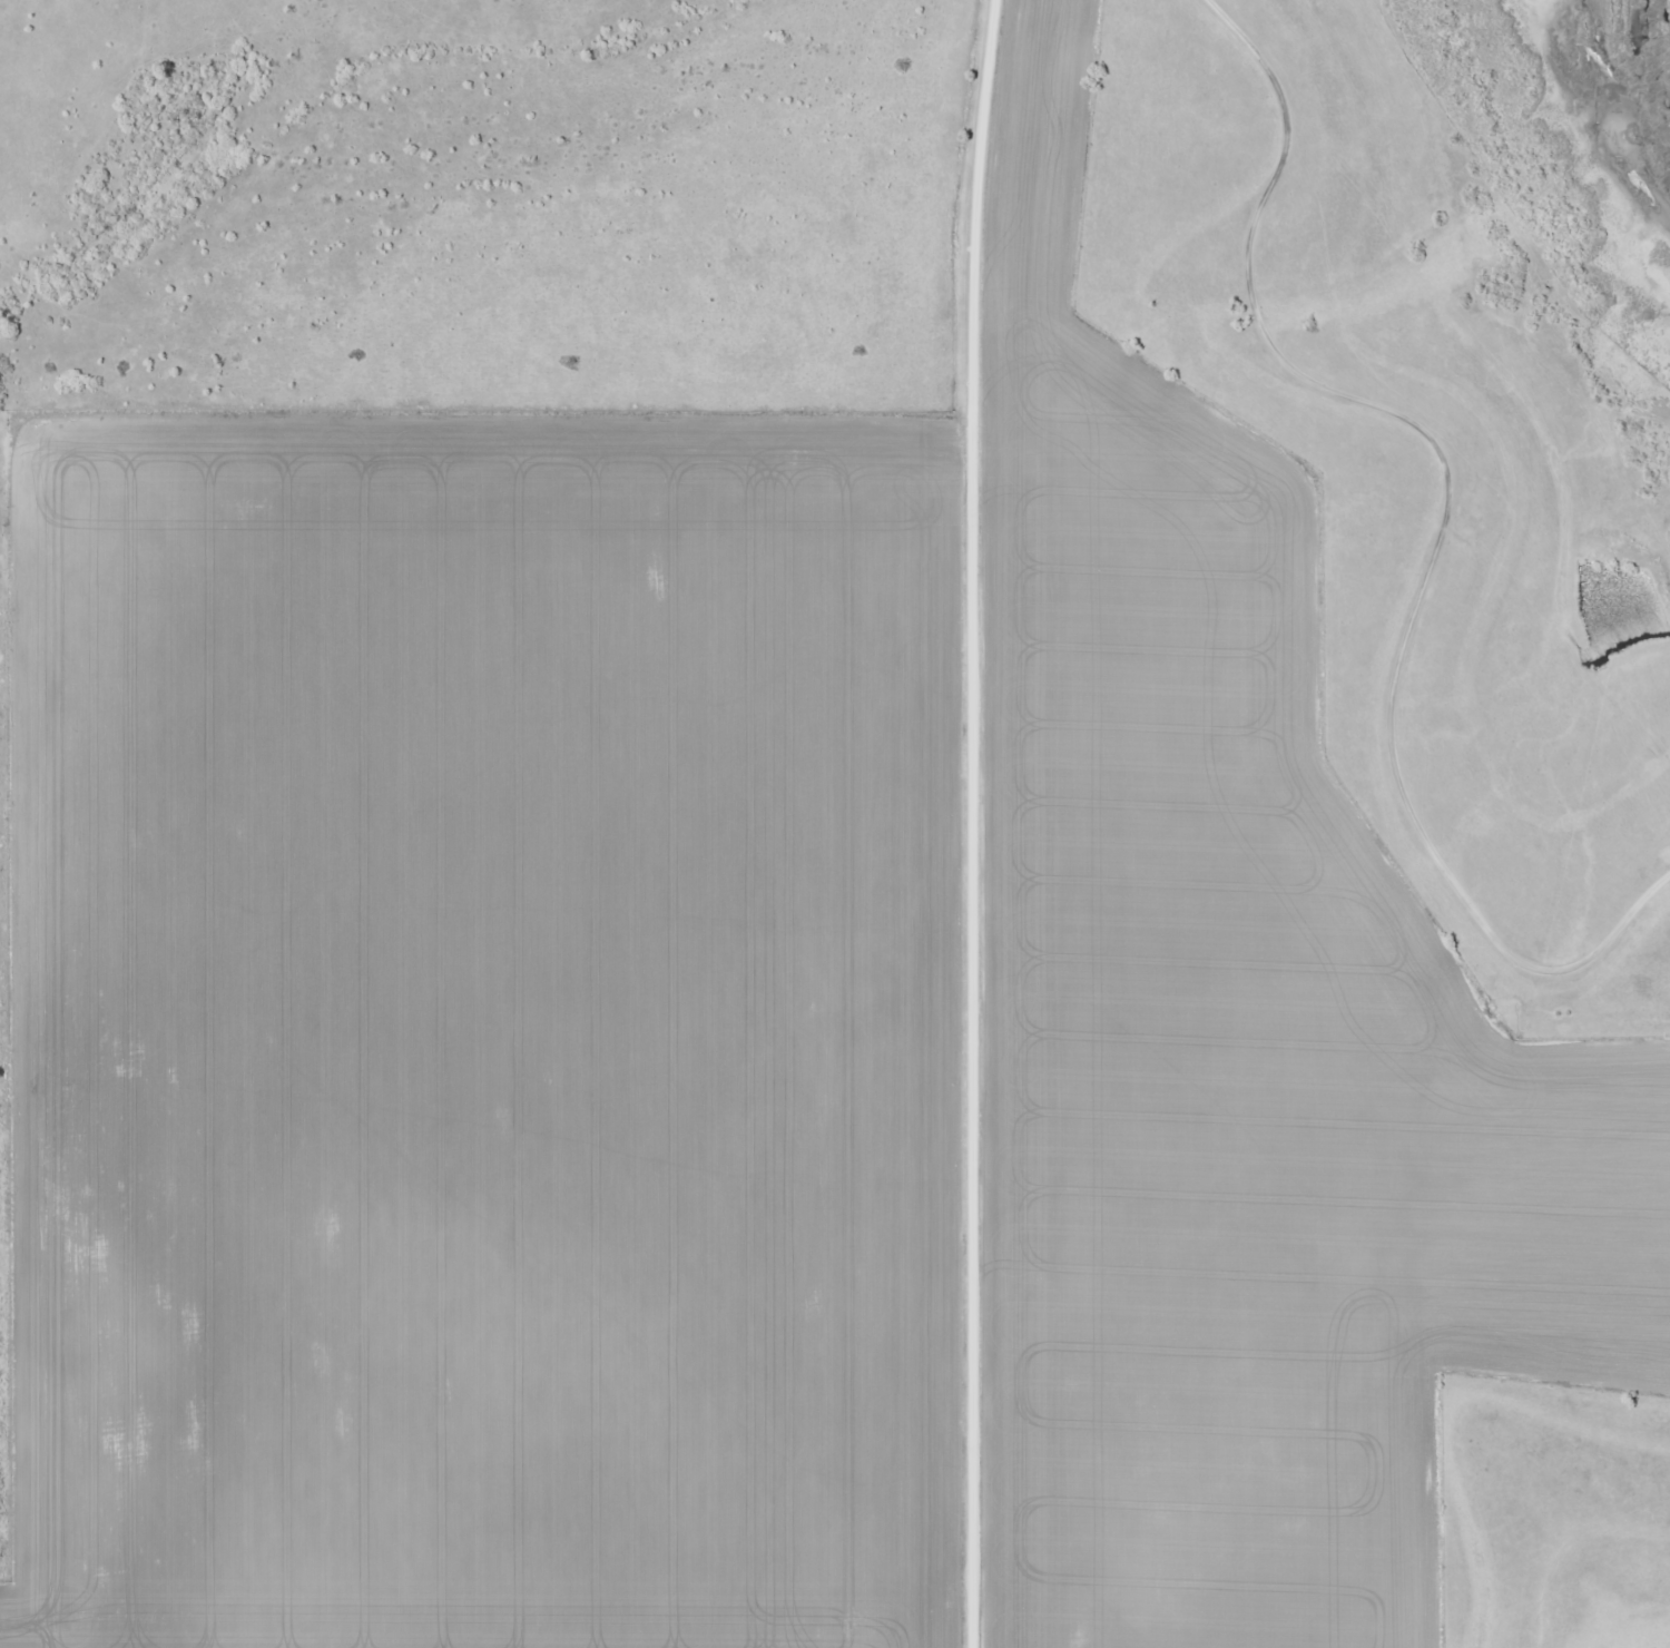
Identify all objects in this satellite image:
road: (1438, 530)
road: (974, 823)

